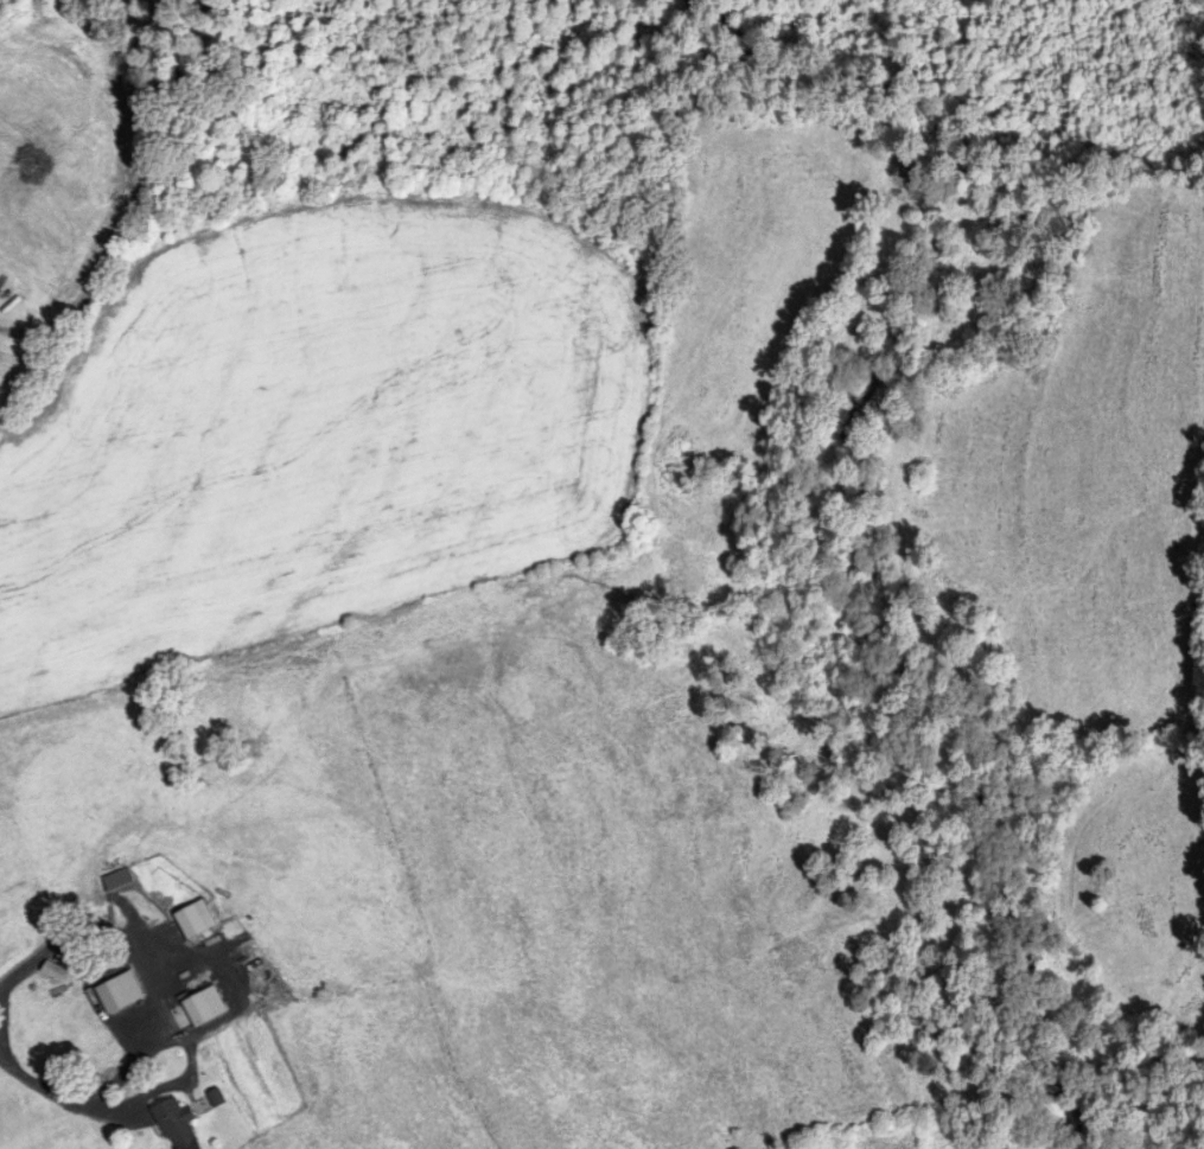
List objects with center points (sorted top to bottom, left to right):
road: (114, 238)
building: (115, 879)
building: (192, 919)
building: (51, 970)
building: (200, 1006)
road: (158, 1011)
building: (174, 1124)

